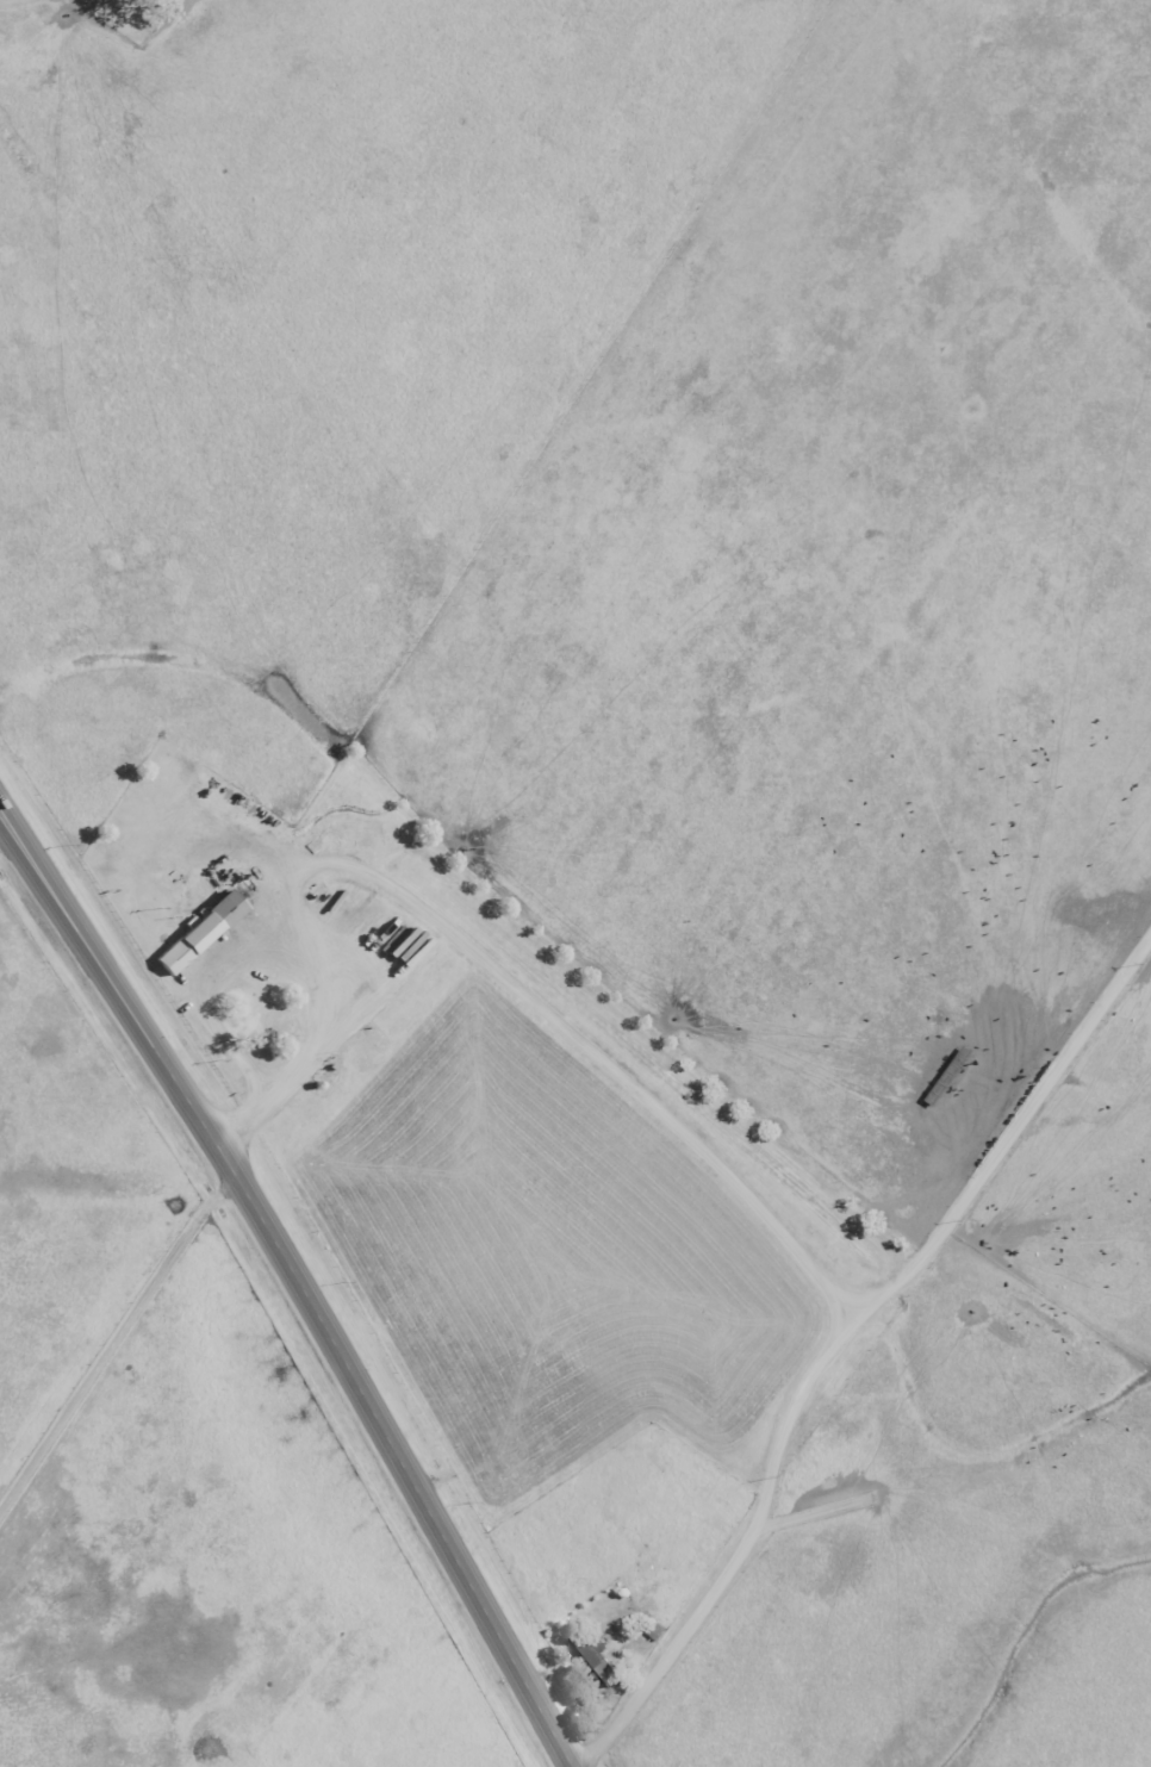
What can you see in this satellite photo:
building: (199, 932)
road: (303, 1278)
road: (832, 1340)
building: (598, 1660)

